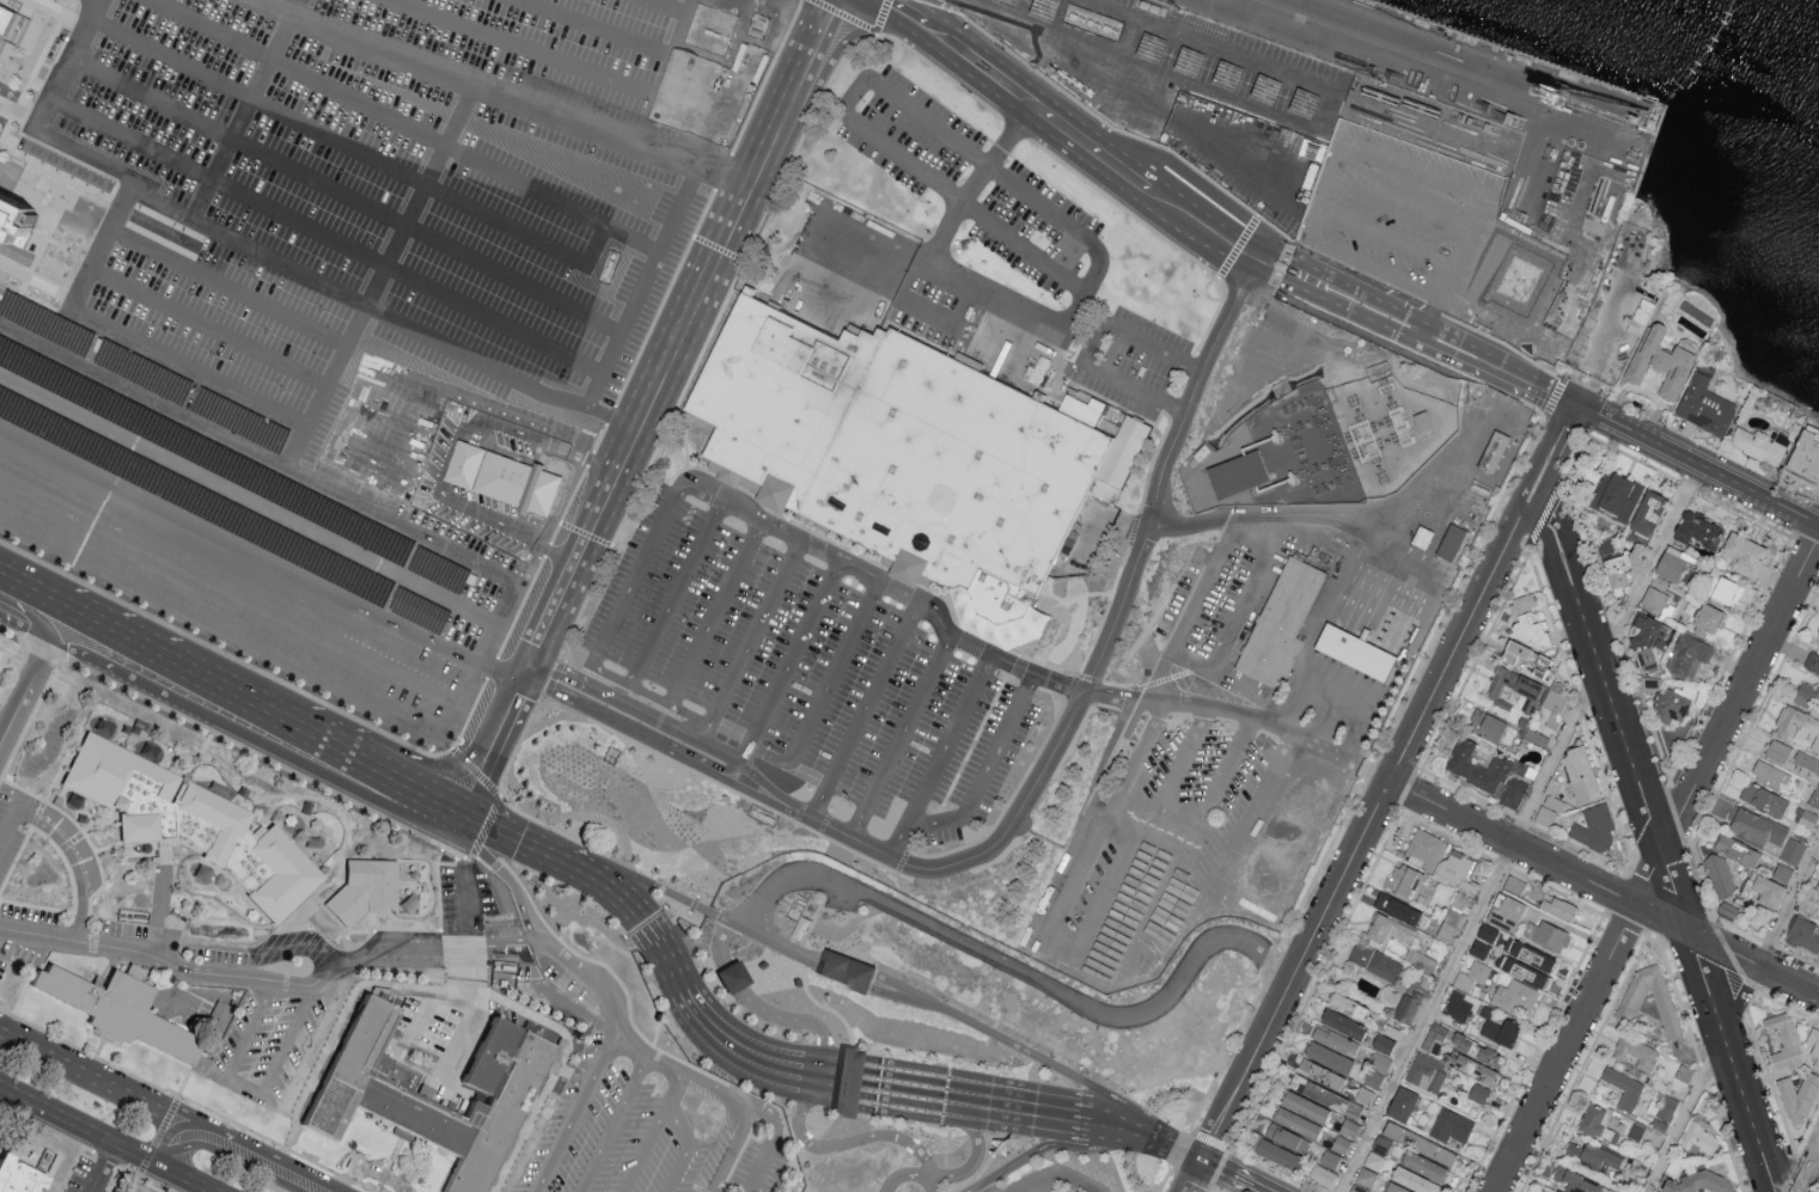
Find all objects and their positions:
road: (294, 4)
road: (667, 7)
road: (1109, 8)
road: (905, 14)
building: (8, 23)
road: (597, 26)
road: (72, 48)
road: (551, 59)
road: (982, 69)
road: (805, 81)
building: (1463, 96)
road: (1127, 100)
building: (1487, 100)
road: (240, 114)
road: (585, 115)
road: (402, 124)
road: (1319, 130)
road: (335, 140)
road: (884, 143)
road: (1093, 148)
road: (1336, 154)
road: (1415, 165)
road: (731, 169)
road: (972, 181)
road: (346, 190)
road: (420, 191)
road: (1400, 200)
road: (682, 201)
road: (1316, 204)
parking lot: (1391, 209)
road: (1479, 210)
building: (10, 216)
road: (112, 230)
road: (326, 232)
road: (1214, 234)
road: (1385, 236)
road: (594, 243)
road: (1371, 271)
road: (1447, 281)
road: (228, 288)
road: (1082, 293)
parking lot: (326, 299)
road: (1351, 302)
road: (920, 311)
road: (692, 314)
road: (381, 317)
road: (189, 319)
building: (45, 323)
road: (623, 325)
road: (354, 329)
road: (1614, 331)
road: (1087, 343)
building: (1661, 365)
road: (190, 368)
road: (1497, 368)
building: (144, 372)
road: (325, 386)
road: (465, 393)
building: (777, 402)
building: (1081, 408)
building: (1705, 408)
building: (239, 421)
building: (1271, 430)
road: (1563, 432)
building: (1764, 446)
road: (298, 447)
road: (452, 448)
building: (1493, 451)
building: (1803, 459)
road: (1697, 465)
building: (232, 466)
building: (1235, 473)
building: (501, 477)
building: (958, 478)
road: (395, 479)
building: (1103, 490)
building: (1616, 497)
road: (248, 499)
road: (604, 503)
building: (222, 511)
building: (1647, 516)
building: (1697, 530)
building: (1744, 554)
road: (258, 555)
airport: (738, 556)
building: (1671, 563)
building: (1617, 573)
road: (884, 585)
building: (1726, 591)
road: (7, 592)
road: (675, 592)
road: (227, 593)
building: (1658, 600)
road: (555, 603)
road: (1190, 606)
road: (41, 609)
road: (714, 612)
road: (1234, 613)
road: (35, 619)
building: (1705, 621)
road: (494, 623)
building: (1281, 623)
road: (1351, 624)
building: (1528, 624)
road: (25, 632)
road: (1460, 634)
building: (1646, 635)
building: (1818, 638)
road: (117, 648)
building: (1354, 652)
building: (1687, 655)
building: (1530, 660)
building: (1812, 662)
parking lot: (810, 671)
road: (30, 685)
building: (1515, 689)
road: (1081, 691)
building: (1807, 696)
road: (653, 697)
building: (1555, 705)
building: (1672, 707)
road: (234, 709)
road: (609, 709)
road: (862, 709)
road: (5, 720)
road: (499, 720)
building: (1485, 725)
building: (1797, 728)
road: (5, 734)
road: (700, 736)
road: (899, 736)
road: (248, 742)
building: (1778, 750)
road: (1335, 752)
road: (764, 754)
road: (938, 756)
road: (740, 757)
road: (714, 759)
building: (1806, 762)
road: (353, 769)
road: (984, 770)
building: (1487, 774)
building: (1769, 774)
building: (1580, 776)
road: (463, 796)
building: (1764, 799)
building: (1814, 799)
road: (18, 805)
road: (429, 808)
road: (1449, 809)
road: (1250, 815)
traffic signals: (452, 820)
building: (1753, 827)
building: (194, 829)
road: (1519, 829)
building: (1595, 829)
road: (1177, 830)
road: (1655, 840)
building: (1424, 848)
road: (66, 849)
road: (519, 849)
building: (1736, 850)
building: (1793, 850)
road: (1656, 863)
building: (1457, 867)
building: (1782, 872)
building: (1719, 878)
building: (1404, 879)
building: (1514, 882)
road: (651, 885)
building: (1764, 888)
building: (365, 893)
building: (1817, 897)
building: (1558, 905)
building: (1398, 907)
building: (1728, 907)
building: (1506, 910)
road: (465, 912)
building: (1454, 915)
building: (1818, 916)
road: (765, 918)
road: (1666, 918)
building: (1388, 928)
building: (1487, 930)
building: (1803, 933)
building: (1548, 934)
road: (535, 935)
building: (1479, 947)
road: (987, 954)
building: (1374, 960)
building: (1526, 961)
road: (843, 967)
building: (842, 968)
road: (1295, 970)
building: (1473, 974)
building: (730, 976)
road: (274, 983)
building: (1515, 996)
building: (1409, 1002)
road: (689, 1003)
building: (1348, 1004)
building: (1457, 1004)
building: (1631, 1004)
road: (761, 1010)
building: (116, 1013)
building: (215, 1015)
road: (1727, 1016)
building: (1342, 1022)
building: (1501, 1029)
building: (1393, 1031)
building: (1434, 1035)
building: (1333, 1039)
building: (1381, 1041)
building: (1784, 1045)
building: (1814, 1047)
building: (1476, 1049)
building: (1635, 1050)
building: (1327, 1056)
road: (1040, 1059)
building: (1379, 1060)
building: (1471, 1065)
building: (1426, 1070)
building: (1320, 1071)
building: (1684, 1071)
building: (844, 1080)
road: (838, 1081)
road: (851, 1083)
road: (100, 1086)
building: (1623, 1087)
road: (722, 1092)
building: (1478, 1092)
road: (245, 1093)
building: (1323, 1093)
building: (366, 1095)
building: (1799, 1099)
road: (976, 1101)
building: (1402, 1102)
building: (1304, 1105)
road: (575, 1107)
building: (1665, 1111)
building: (1295, 1120)
building: (1598, 1121)
road: (1113, 1123)
road: (614, 1124)
building: (1449, 1124)
building: (1348, 1126)
road: (652, 1132)
building: (1287, 1136)
building: (1699, 1139)
road: (102, 1141)
building: (1341, 1142)
building: (1381, 1143)
building: (1422, 1143)
road: (842, 1144)
road: (1168, 1144)
road: (769, 1145)
road: (1057, 1147)
road: (685, 1149)
building: (1276, 1151)
building: (1593, 1154)
road: (190, 1157)
building: (1329, 1157)
building: (1374, 1160)
road: (261, 1163)
building: (1424, 1165)
road: (100, 1169)
road: (956, 1173)
building: (1320, 1174)
building: (1365, 1175)
building: (16, 1176)
road: (1196, 1176)
road: (1235, 1176)
road: (1811, 1176)
building: (1414, 1179)
building: (1574, 1179)
parking lot: (1045, 1180)
road: (1030, 1181)
road: (1043, 1181)
road: (1072, 1181)
building: (1703, 1182)
road: (929, 1185)
building: (1396, 1187)
building: (133, 1188)
road: (978, 1188)
building: (1658, 1191)

